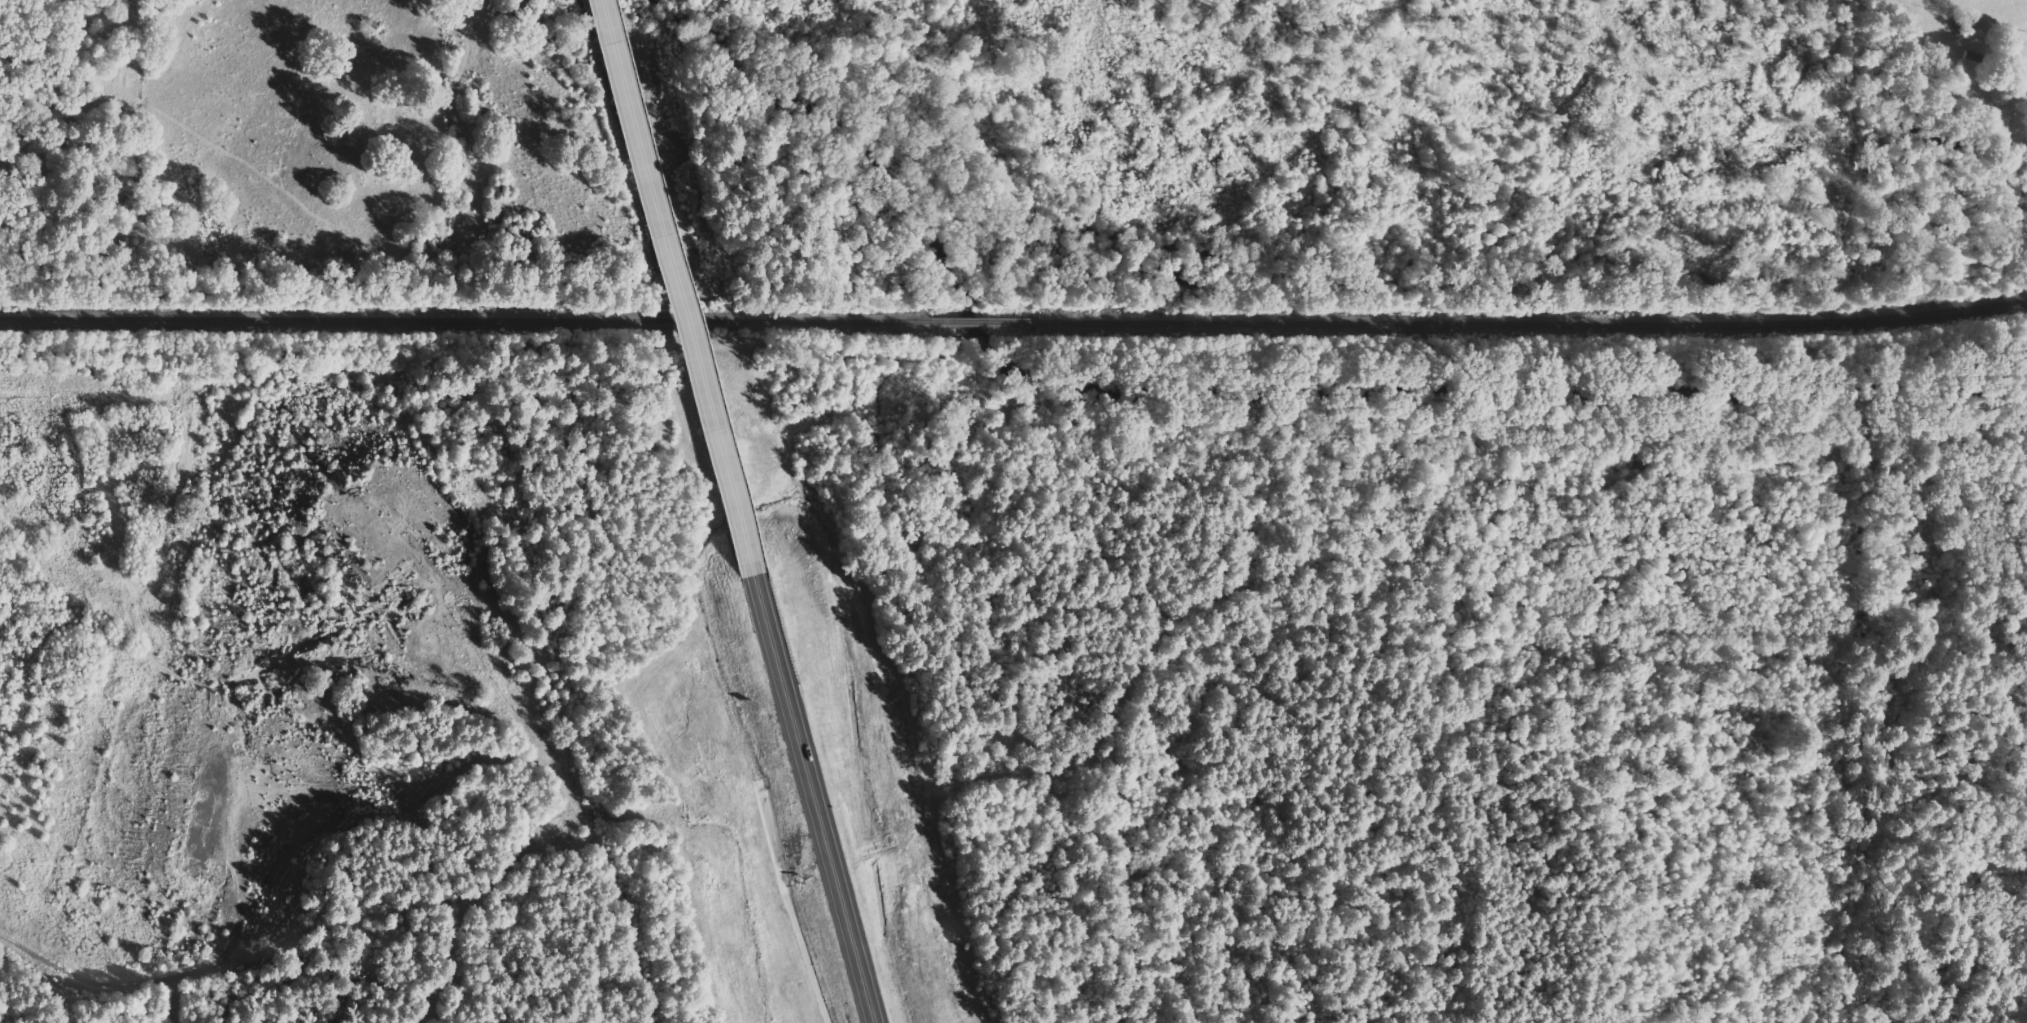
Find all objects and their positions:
building: (1966, 24)
road: (679, 289)
railway: (1907, 314)
railway: (463, 319)
railway: (983, 321)
railway: (1413, 323)
road: (816, 800)

